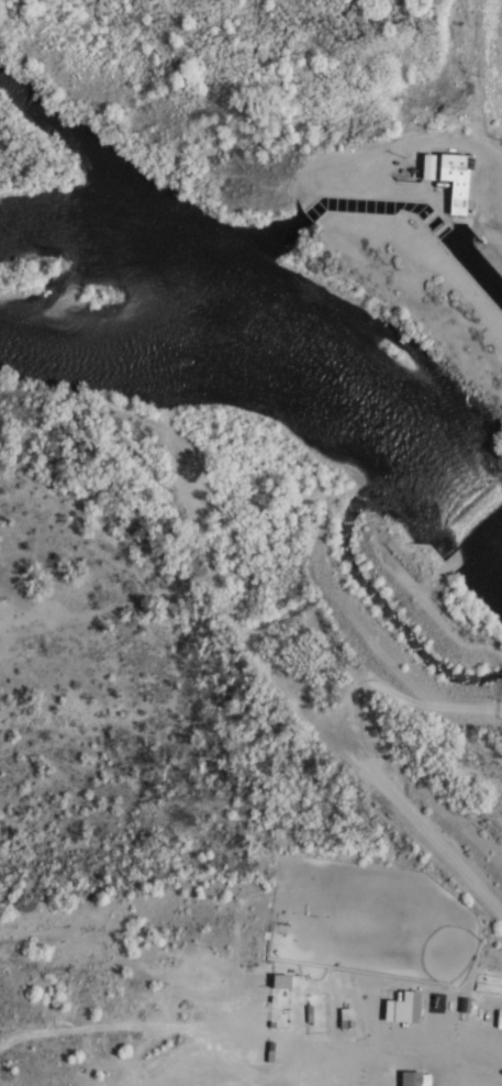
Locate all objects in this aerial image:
road: (478, 152)
building: (430, 166)
building: (456, 179)
river: (269, 395)
dam: (471, 532)
road: (362, 754)
building: (411, 1078)

